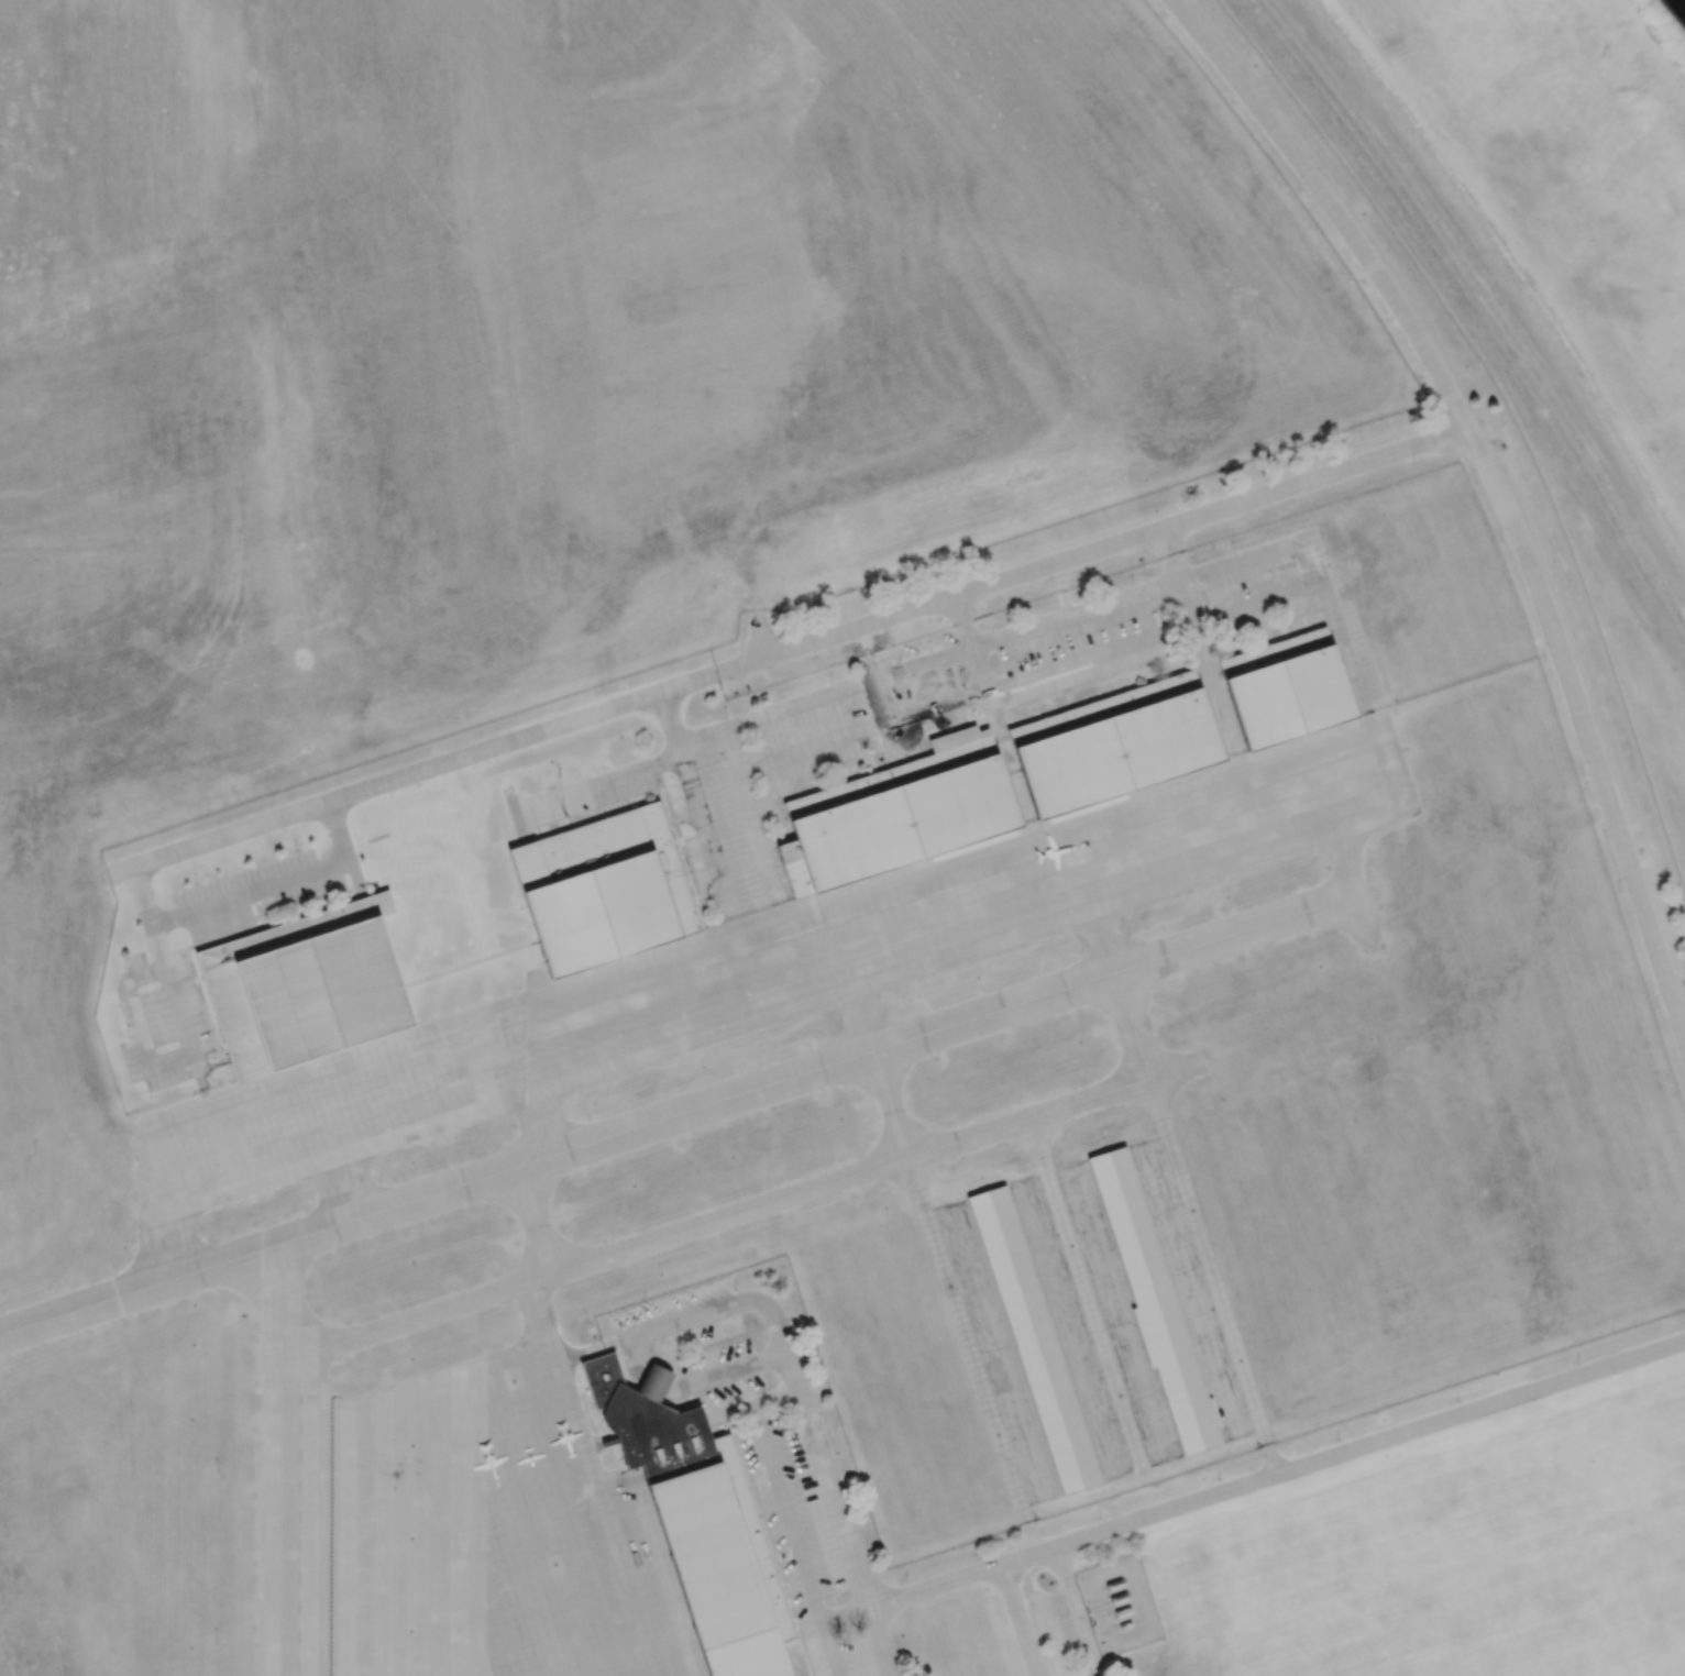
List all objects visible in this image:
road: (1496, 486)
road: (760, 635)
road: (992, 641)
road: (1196, 644)
road: (792, 650)
road: (1029, 679)
airport hangar: (1285, 691)
building: (1285, 691)
parking lot: (950, 703)
road: (990, 710)
road: (672, 719)
airport hangar: (1113, 746)
building: (1113, 746)
road: (751, 813)
airport hangar: (897, 815)
building: (897, 815)
road: (703, 825)
airport: (797, 873)
airport hangar: (602, 889)
building: (602, 889)
airport taxiway: (1356, 891)
road: (250, 892)
parking lot: (263, 894)
airport apron: (764, 968)
airport hangar: (304, 985)
building: (304, 985)
parking lot: (168, 1021)
road: (175, 1059)
airport taxiway: (882, 1077)
airport taxiway: (684, 1112)
airport taxiway: (542, 1128)
airport taxiway: (1178, 1170)
airport taxiway: (351, 1191)
airport taxiway: (740, 1211)
airport taxiway: (535, 1220)
airport taxiway: (1084, 1287)
airport hangar: (1153, 1300)
building: (1153, 1300)
airport taxiway: (283, 1301)
airport taxiway: (536, 1308)
road: (712, 1311)
road: (286, 1325)
airport taxiway: (963, 1332)
airport hangar: (1035, 1341)
building: (1035, 1341)
parking lot: (684, 1348)
road: (728, 1369)
road: (1268, 1448)
road: (1276, 1475)
road: (830, 1493)
airport taxiway: (282, 1518)
building: (703, 1529)
road: (1027, 1530)
airport apron: (480, 1533)
parking lot: (812, 1534)
road: (794, 1542)
road: (1076, 1611)
road: (1017, 1621)

